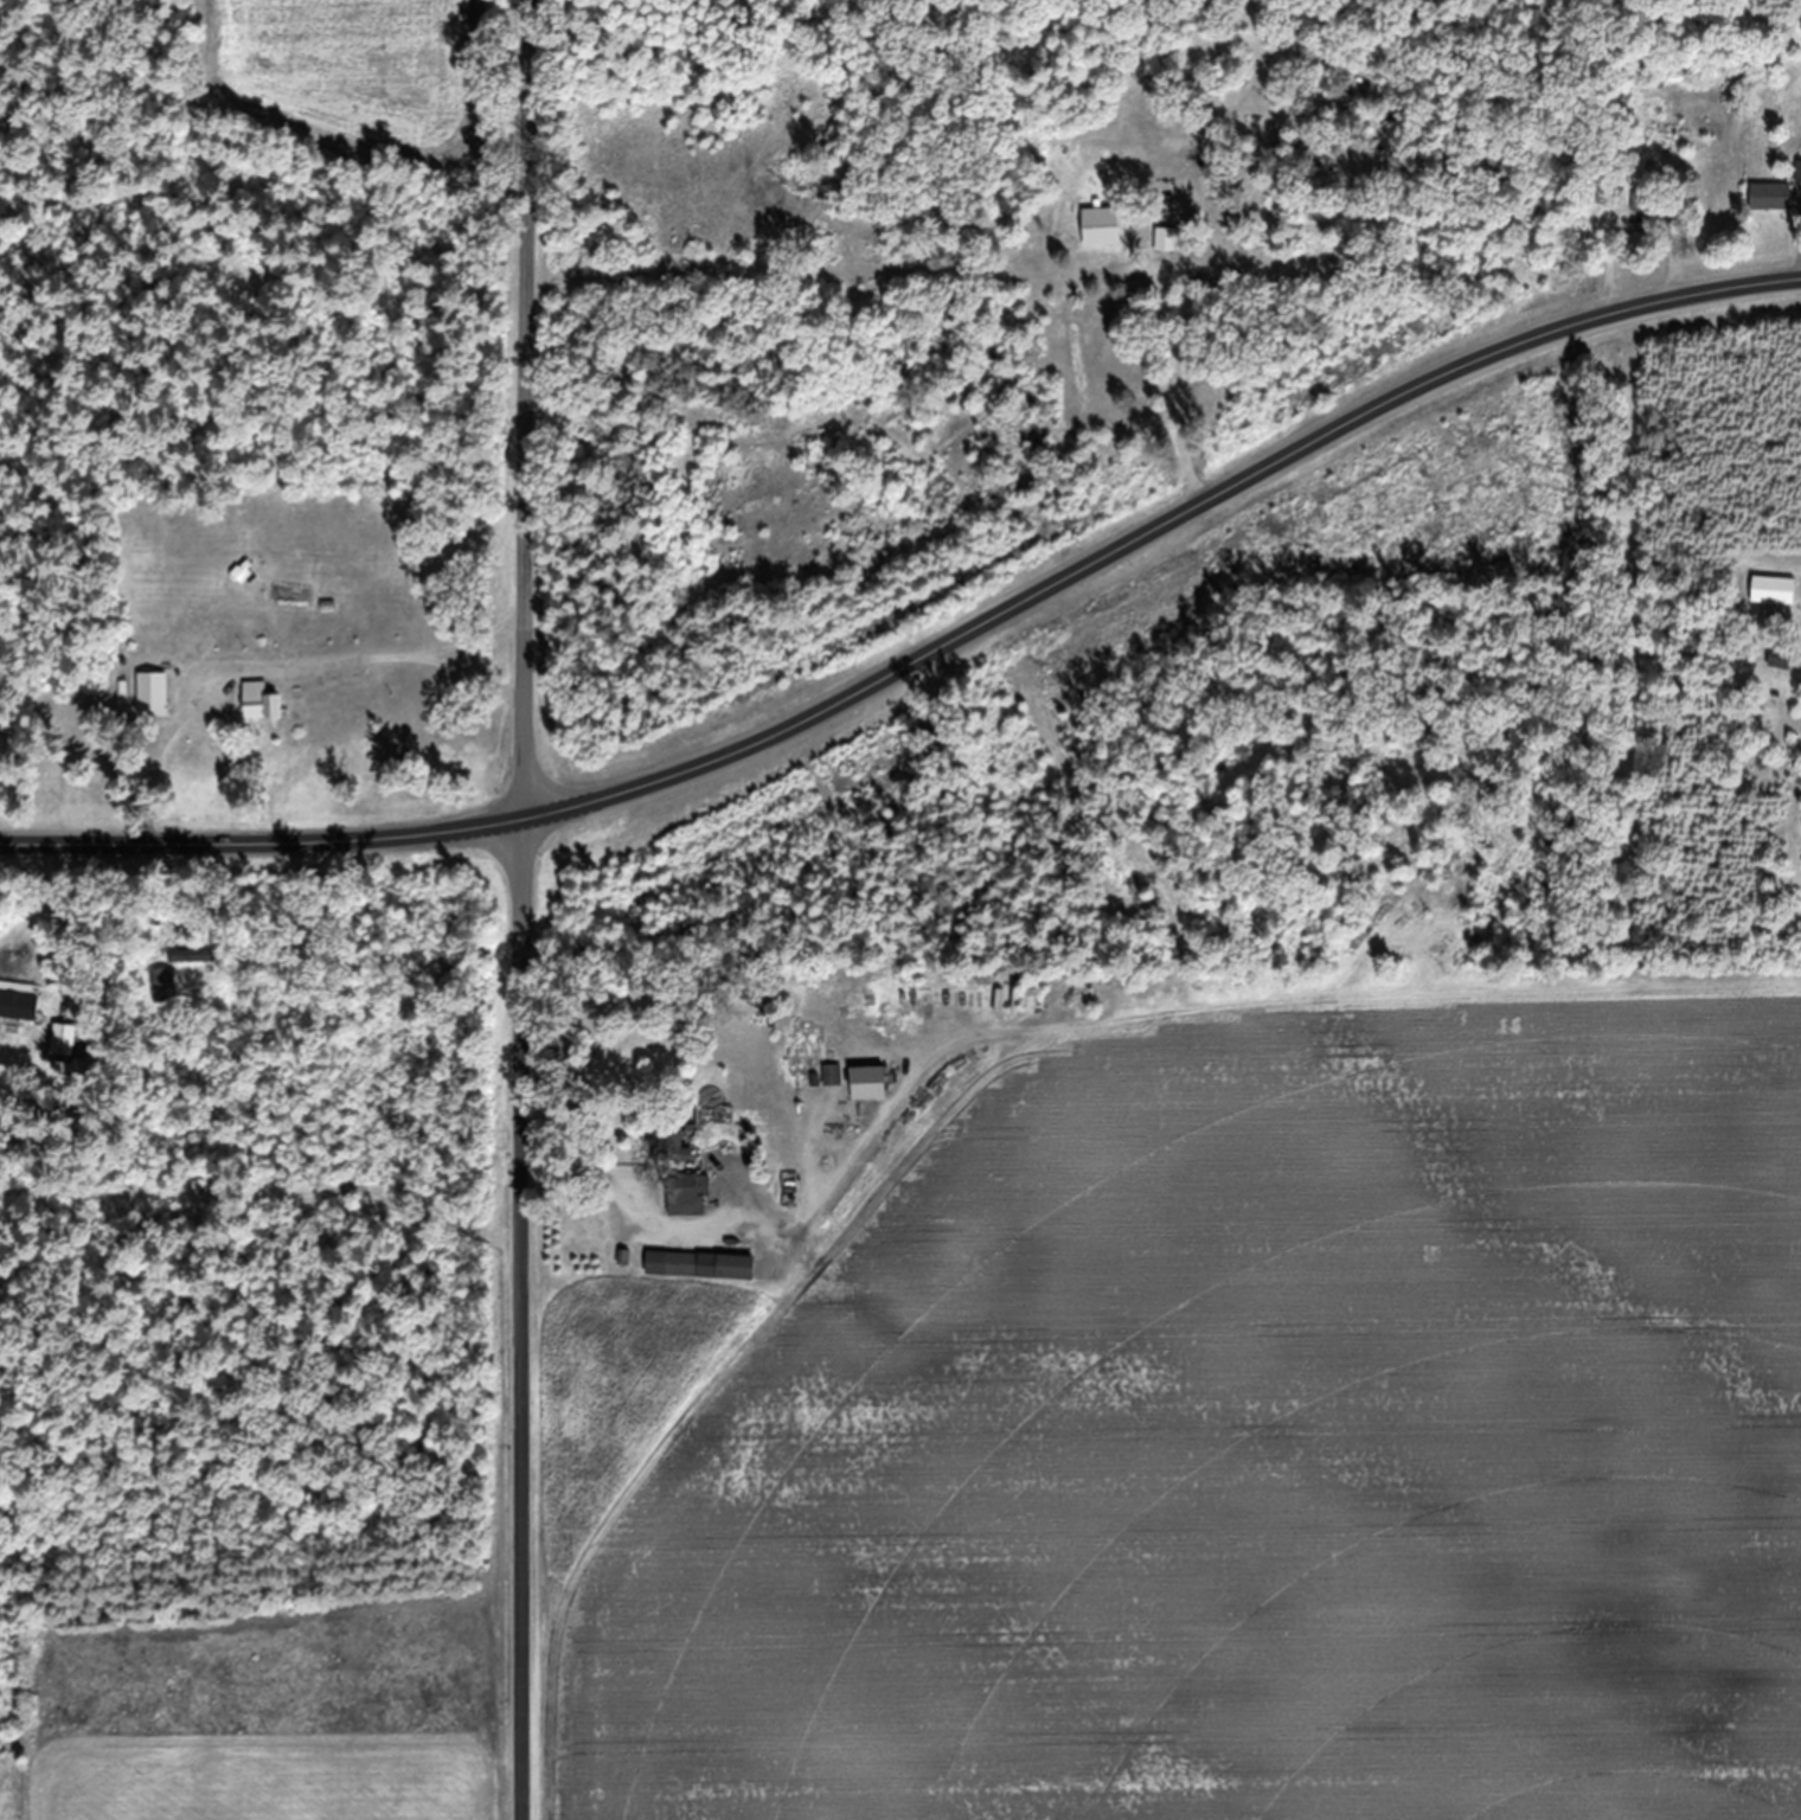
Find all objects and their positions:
building: (1771, 210)
building: (1648, 218)
building: (1103, 236)
building: (1168, 252)
road: (318, 492)
road: (271, 658)
road: (929, 666)
building: (1781, 671)
building: (153, 707)
building: (259, 716)
road: (525, 909)
building: (192, 969)
building: (166, 998)
building: (1018, 1012)
building: (19, 1020)
building: (1140, 1021)
building: (70, 1056)
building: (867, 1088)
building: (833, 1089)
building: (674, 1159)
building: (687, 1207)
road: (780, 1220)
building: (700, 1280)

